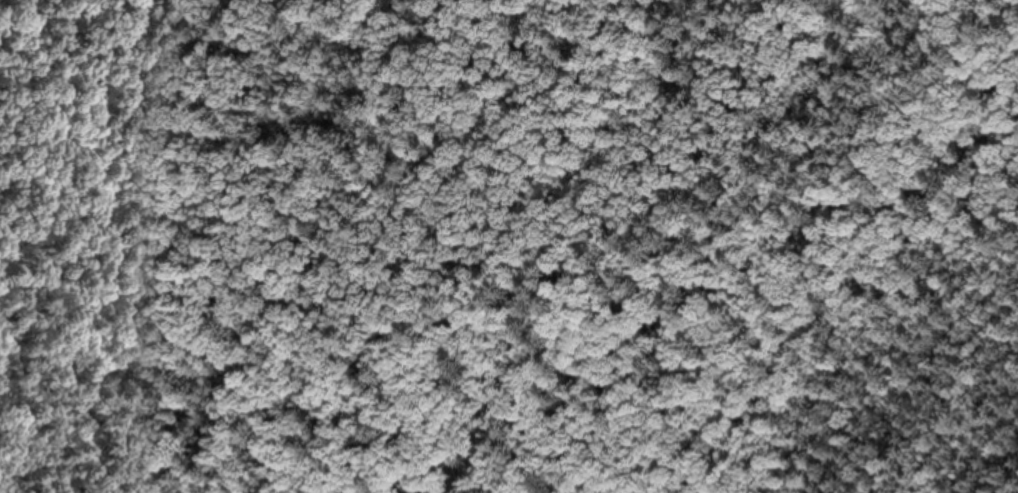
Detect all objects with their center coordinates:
park: (920, 245)

